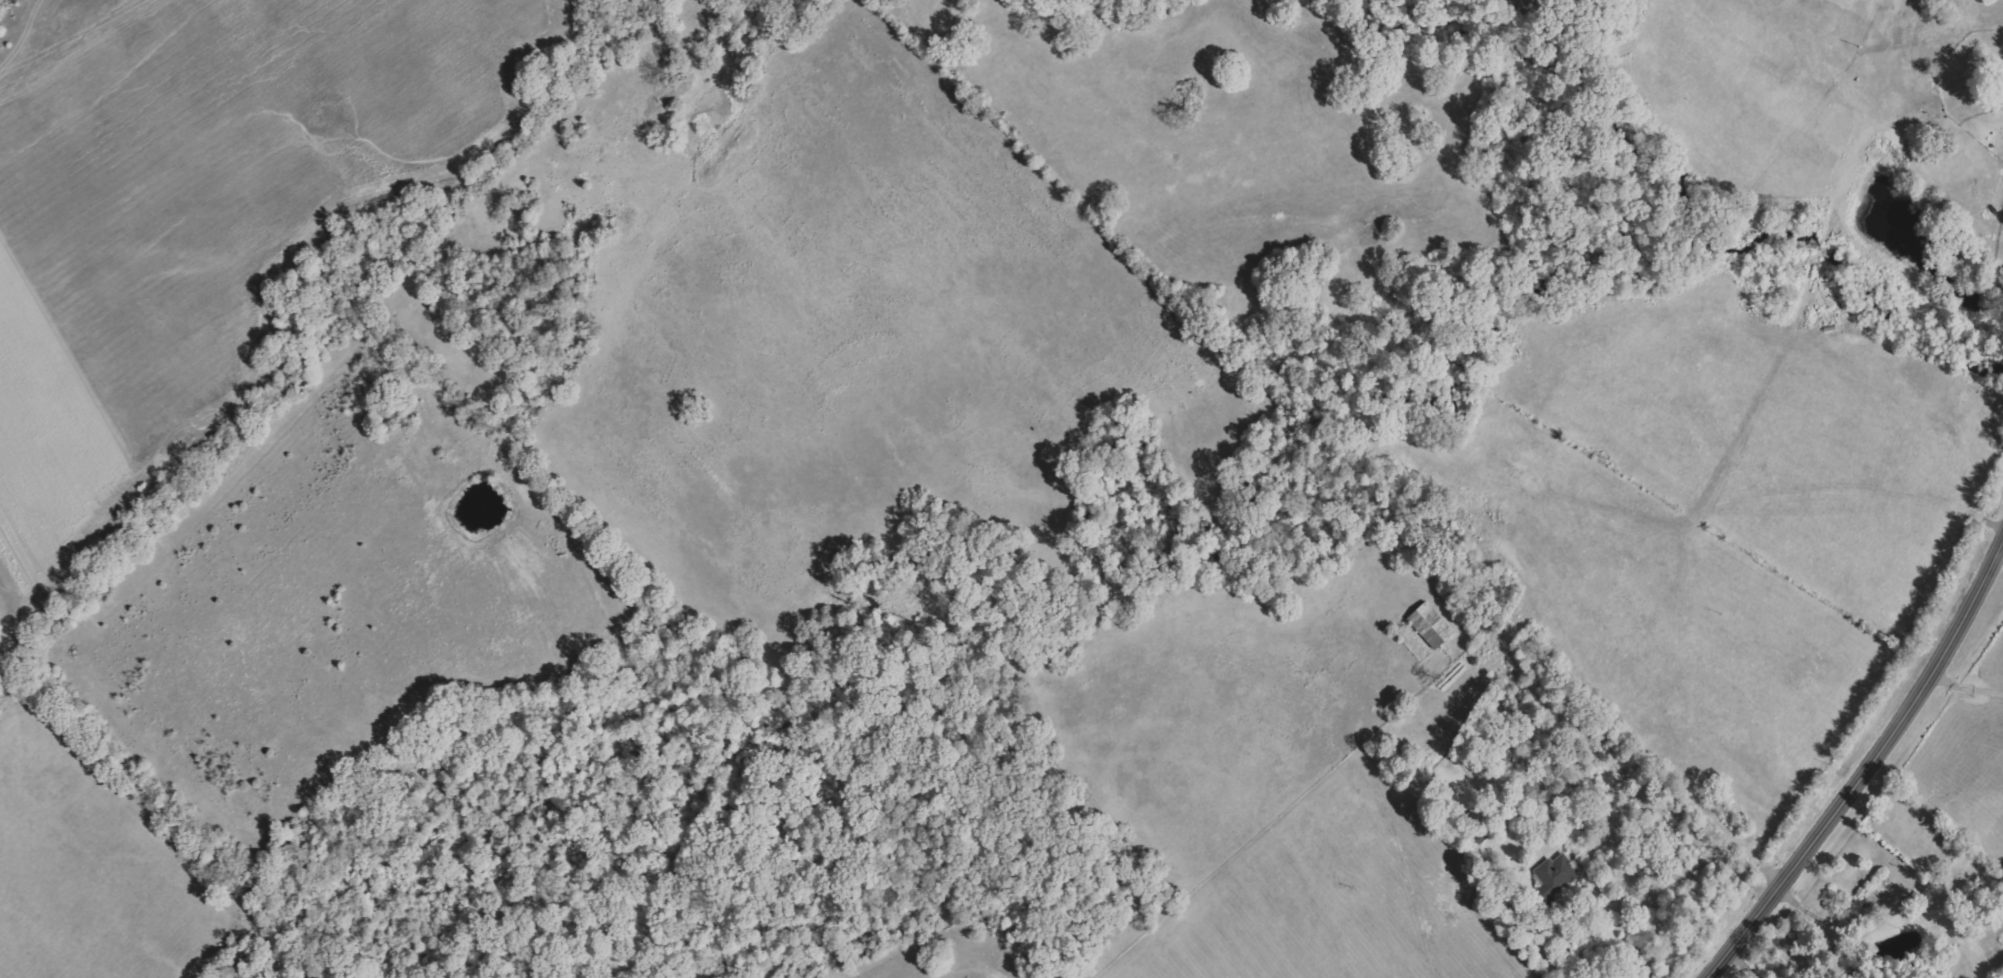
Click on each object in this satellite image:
building: (1435, 626)
road: (1866, 775)
building: (1557, 872)
road: (1916, 880)
road: (1743, 961)

